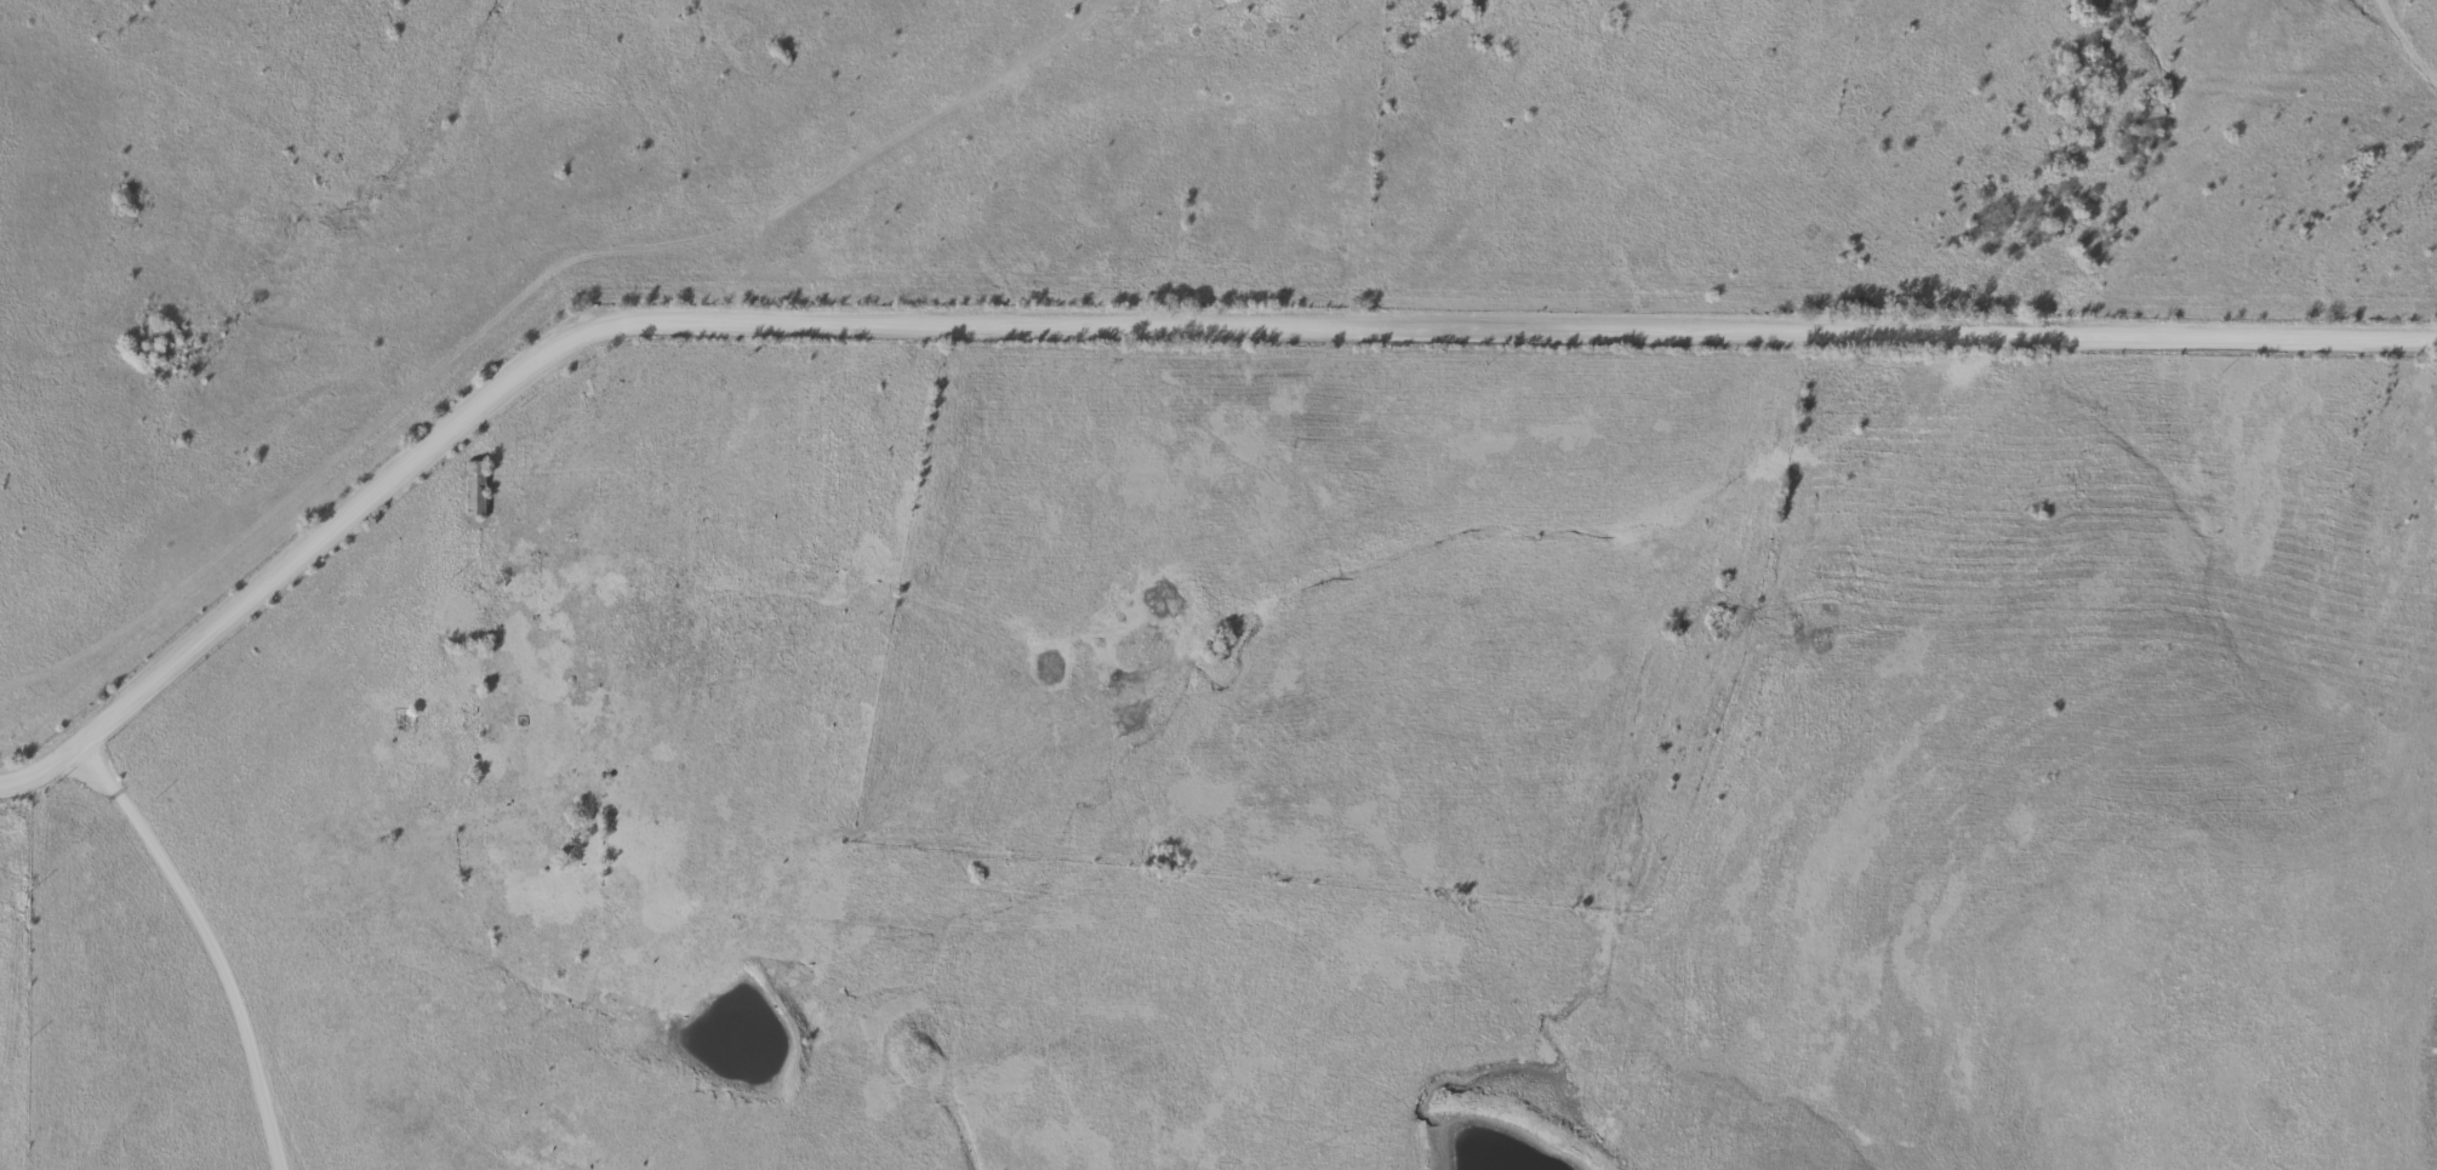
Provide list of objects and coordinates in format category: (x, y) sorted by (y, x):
road: (2403, 47)
road: (1142, 323)
building: (470, 490)
road: (211, 938)

